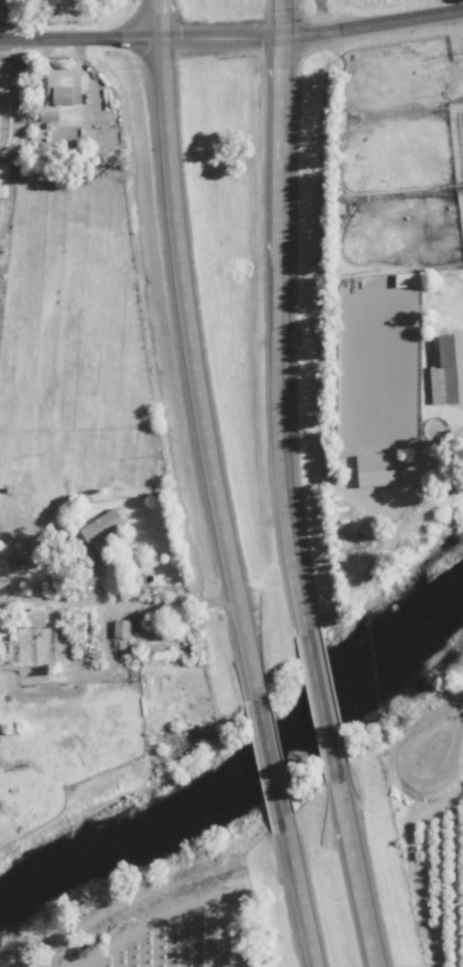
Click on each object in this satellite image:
road: (310, 32)
road: (78, 33)
building: (58, 93)
building: (49, 116)
crop: (380, 139)
road: (277, 317)
road: (189, 348)
building: (448, 371)
building: (377, 468)
building: (101, 528)
building: (24, 560)
road: (123, 601)
building: (121, 628)
road: (322, 700)
road: (268, 747)
river: (239, 761)
road: (407, 778)
road: (362, 866)
road: (302, 884)
road: (161, 896)

